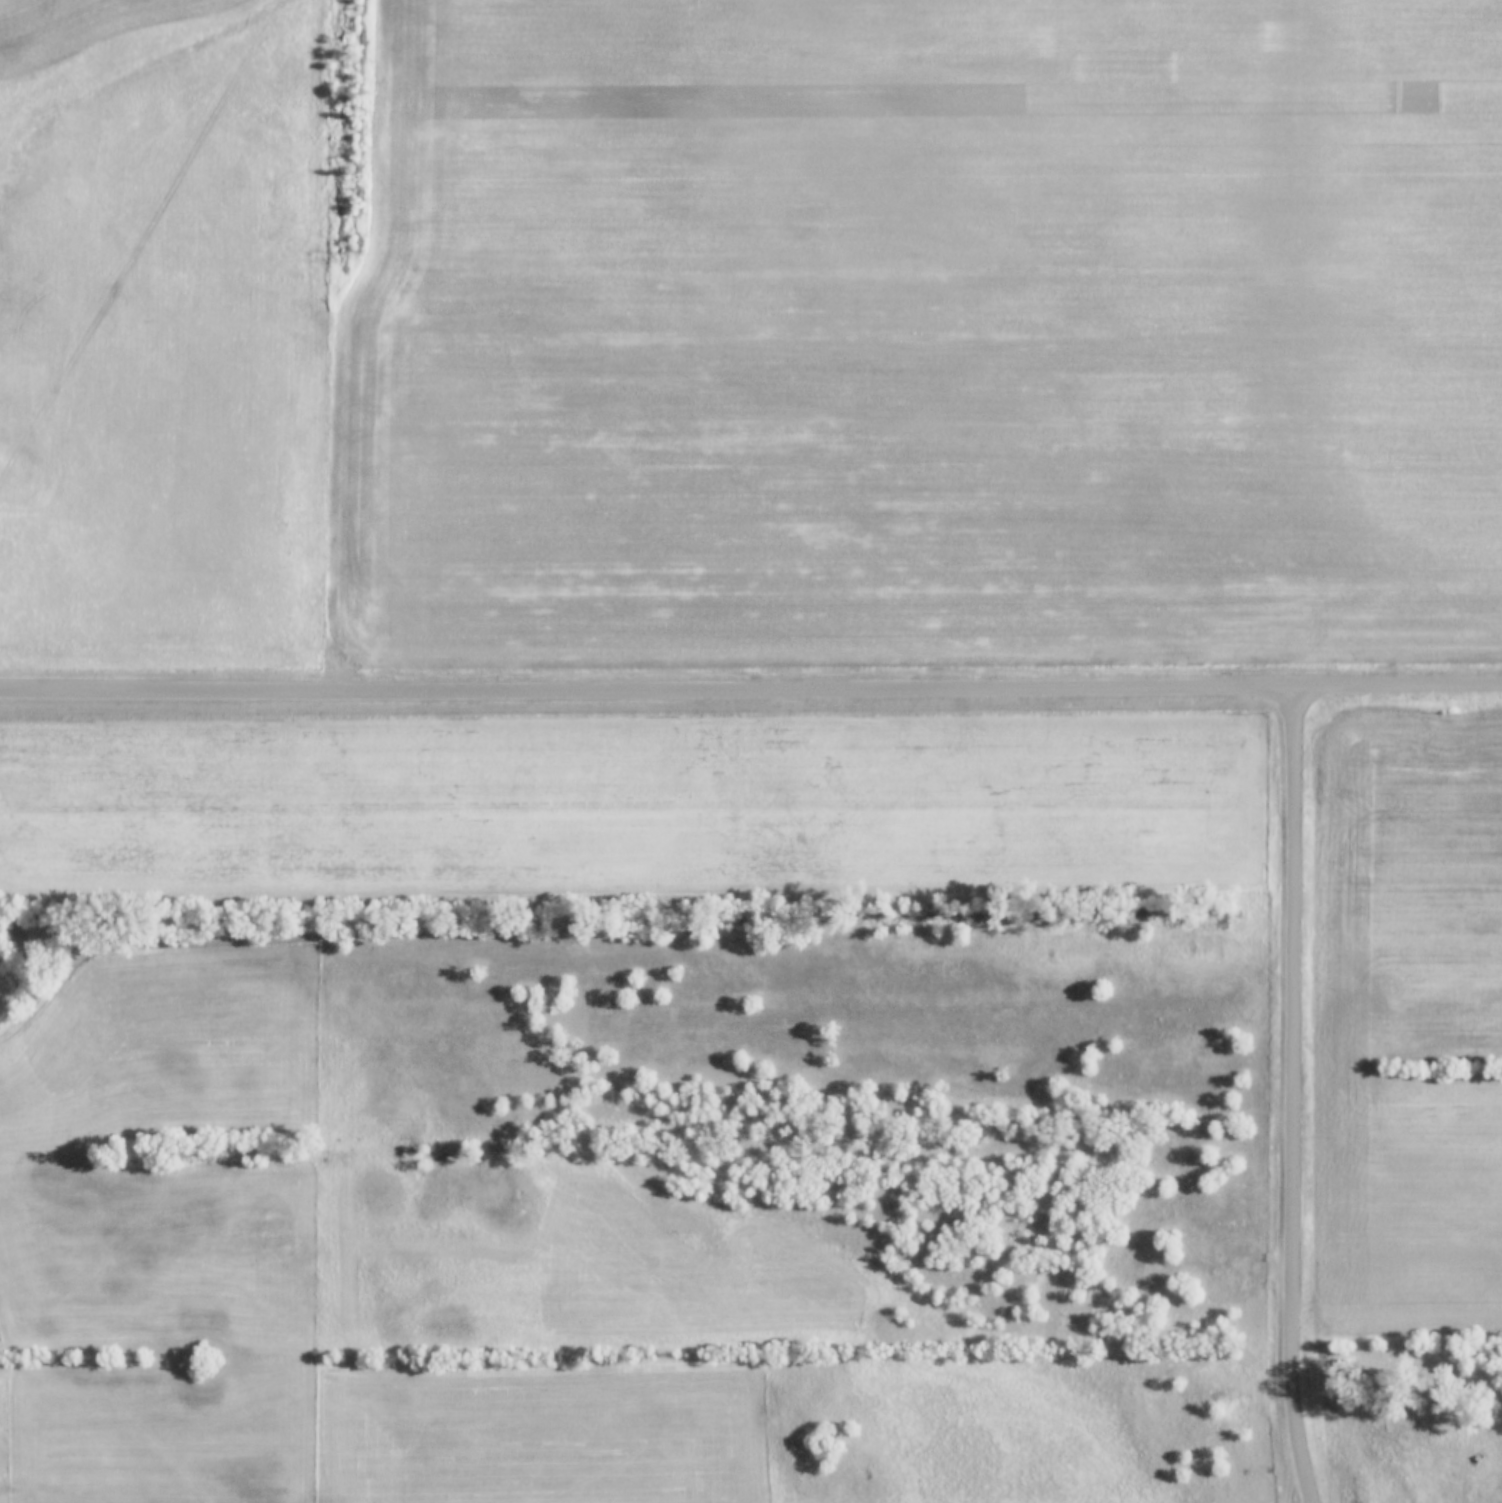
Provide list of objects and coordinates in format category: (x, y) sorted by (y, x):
road: (750, 691)
road: (1298, 1096)

